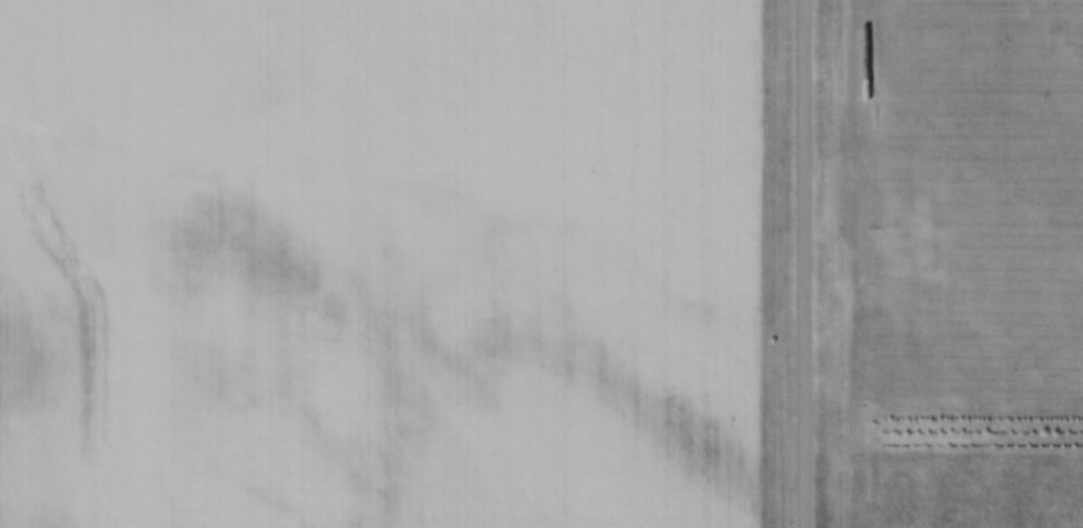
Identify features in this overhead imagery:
road: (814, 263)

